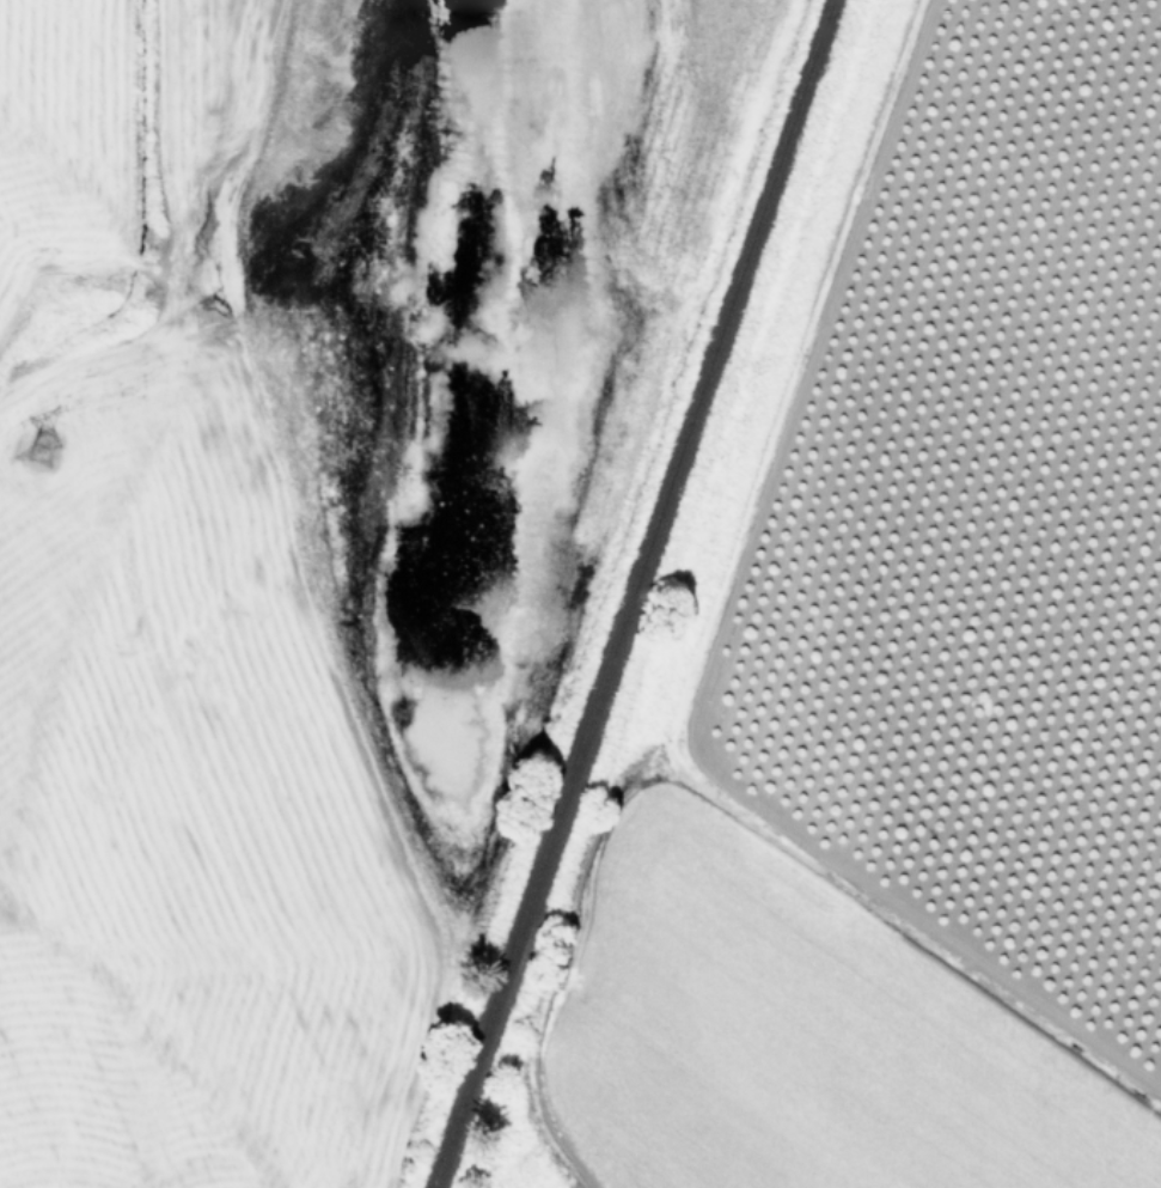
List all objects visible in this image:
power tower: (50, 455)
crop: (580, 593)
railway: (636, 593)

